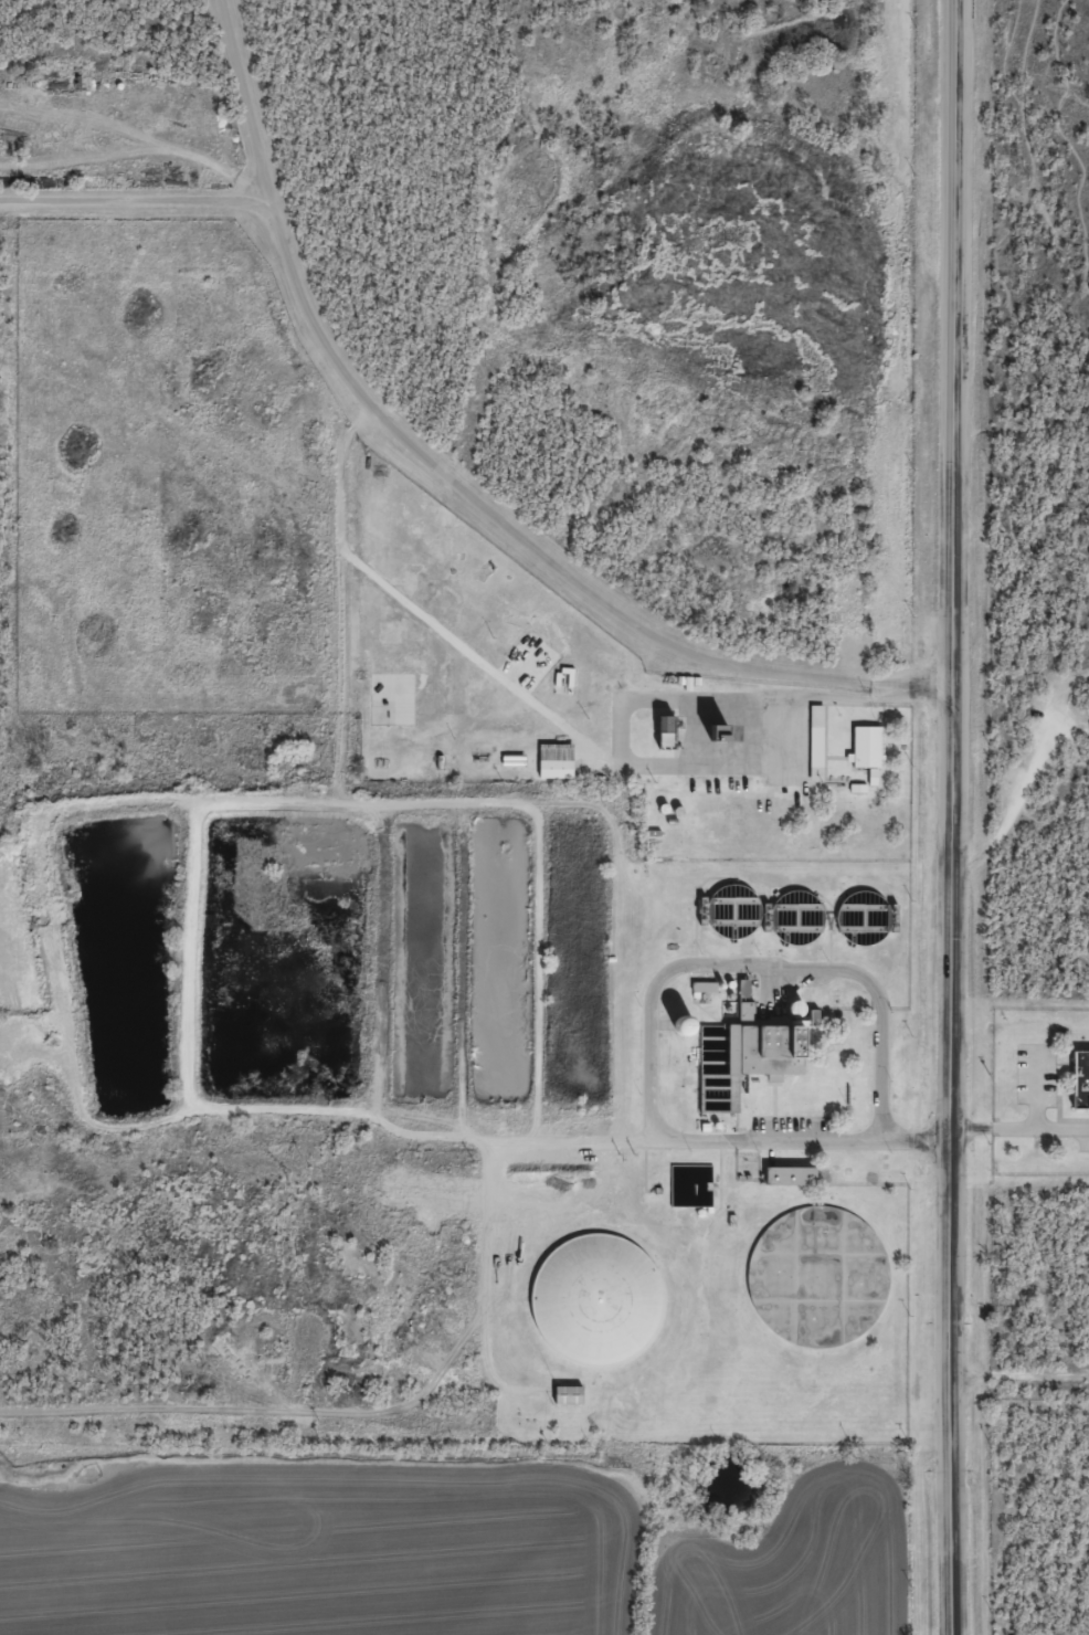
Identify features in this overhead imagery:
road: (1059, 54)
road: (1046, 373)
road: (459, 485)
road: (1005, 626)
building: (666, 730)
building: (866, 747)
building: (556, 769)
road: (952, 818)
road: (1016, 834)
building: (732, 911)
storage tank: (732, 911)
building: (796, 917)
storage tank: (796, 917)
building: (863, 918)
storage tank: (863, 918)
road: (1032, 937)
building: (795, 1009)
storage tank: (795, 1009)
road: (651, 1011)
building: (684, 1025)
storage tank: (684, 1025)
parking lot: (1036, 1073)
building: (1080, 1077)
road: (1036, 1088)
road: (1021, 1129)
parking lot: (1085, 1139)
building: (791, 1175)
building: (691, 1185)
storage tank: (691, 1185)
building: (817, 1276)
storage tank: (817, 1276)
building: (596, 1300)
storage tank: (596, 1300)
road: (1019, 1378)

